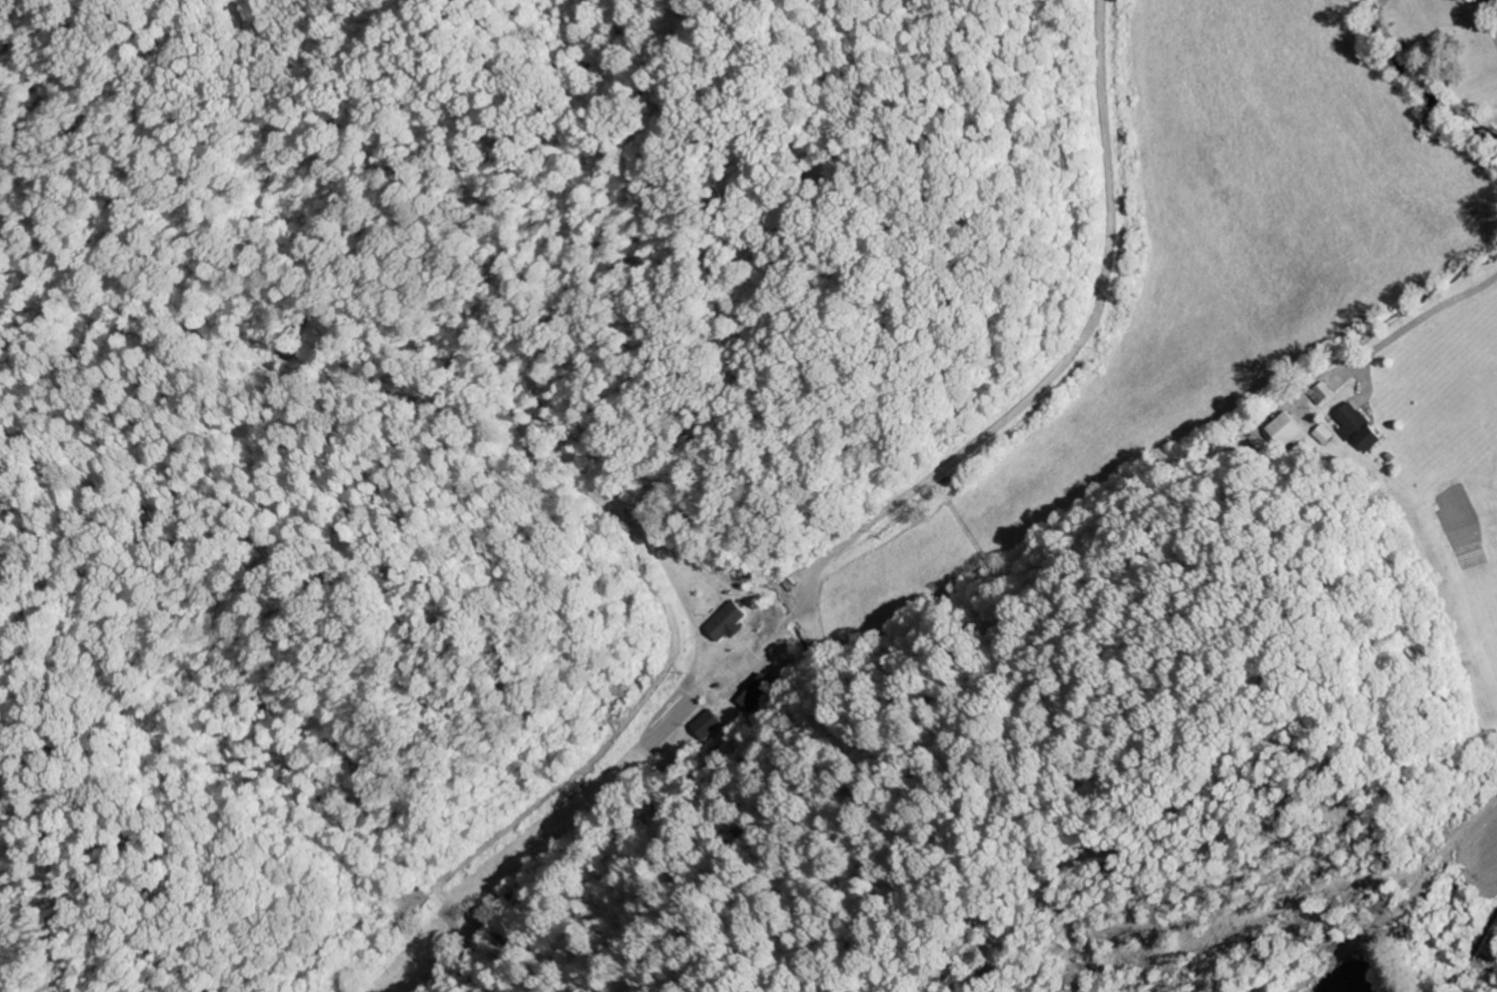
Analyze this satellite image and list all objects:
river: (1427, 87)
road: (1428, 315)
building: (1320, 395)
road: (1023, 405)
building: (1356, 429)
building: (1284, 431)
building: (730, 623)
building: (757, 693)
building: (709, 725)

